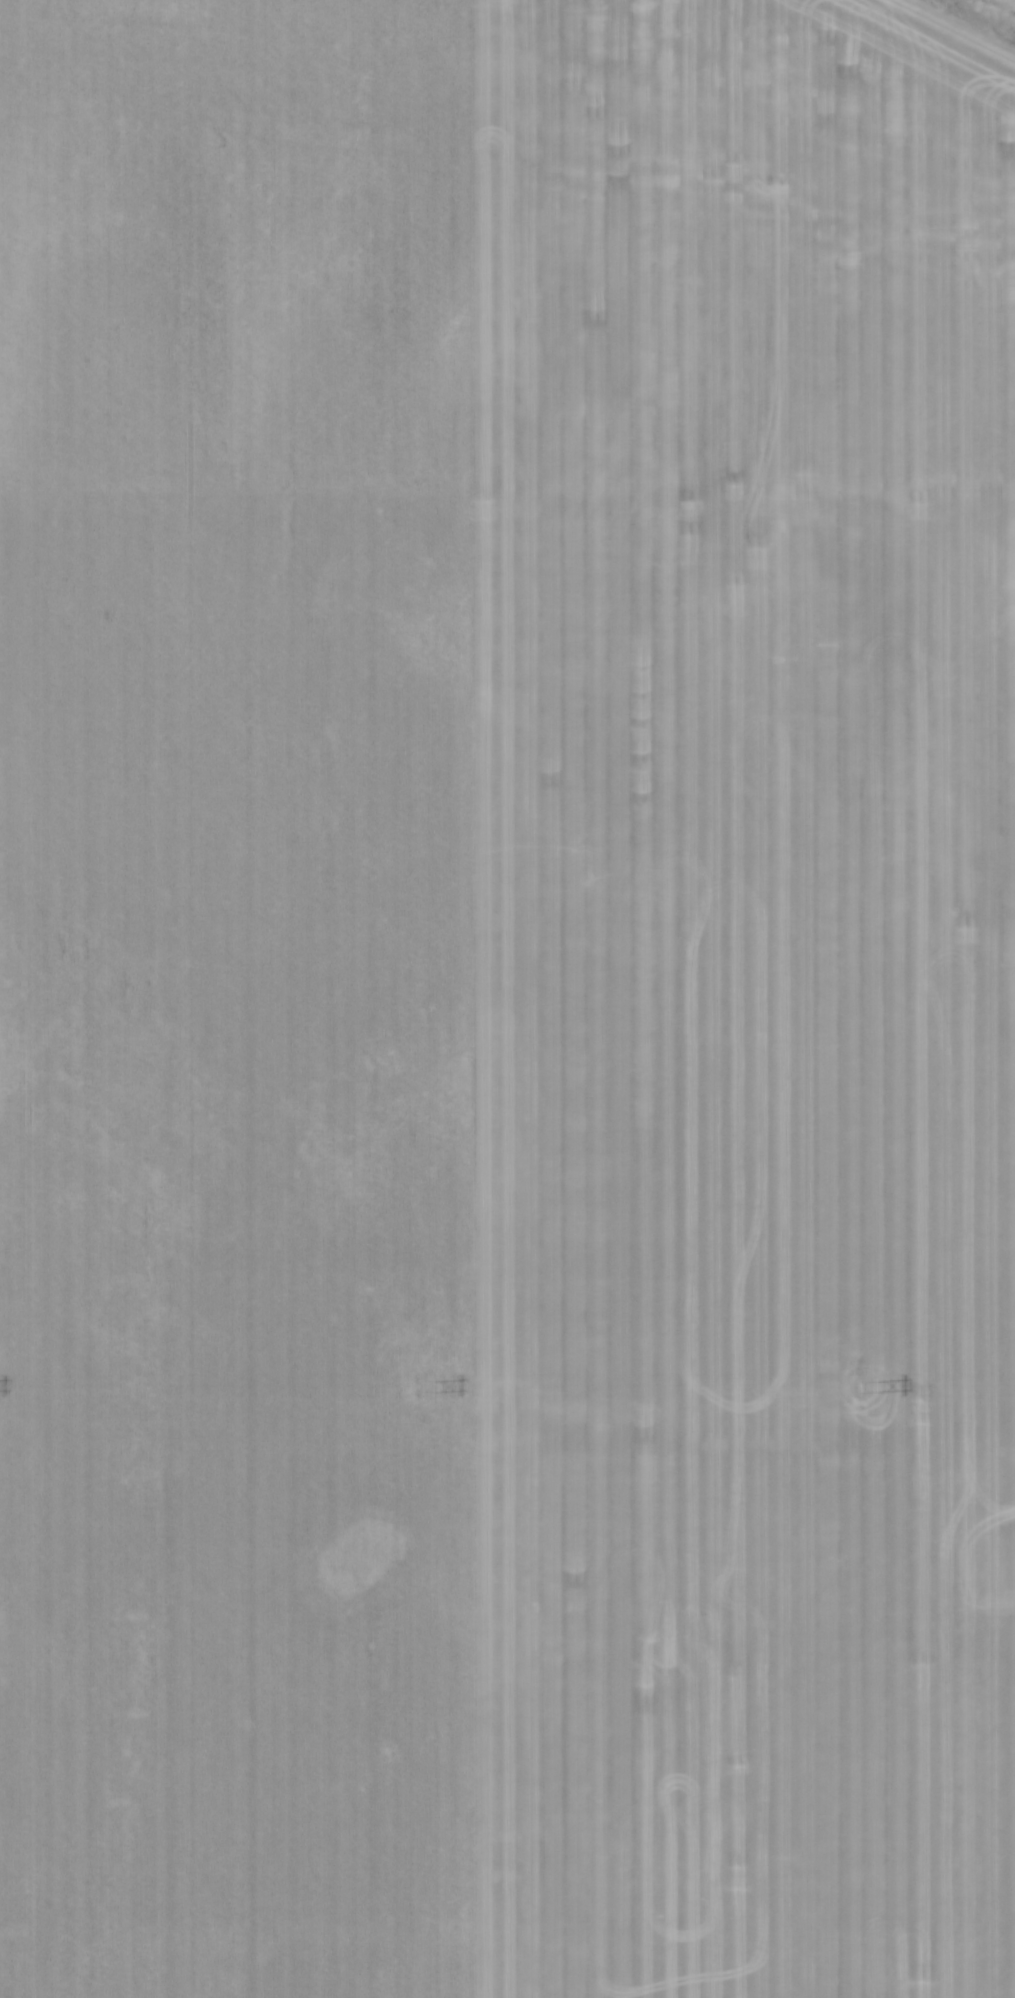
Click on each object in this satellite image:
power tower: (415, 1388)
power tower: (860, 1390)

